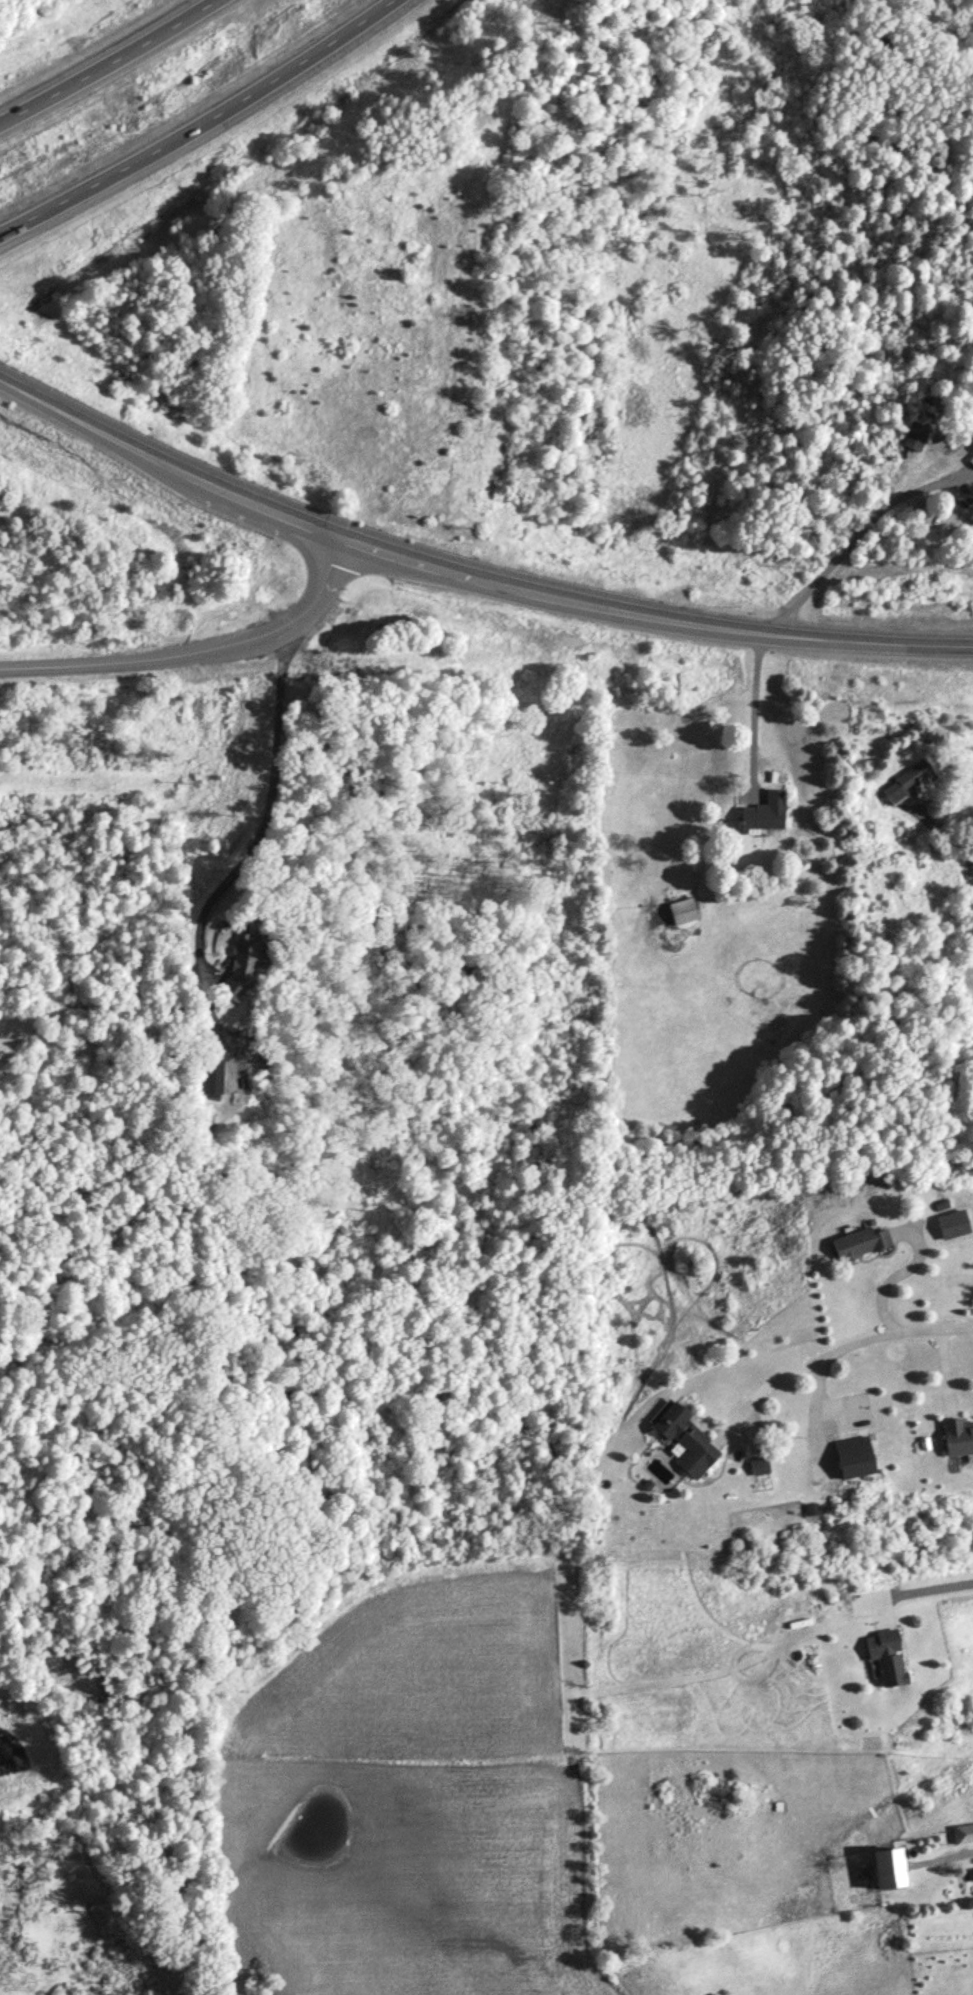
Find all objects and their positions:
road: (106, 63)
road: (204, 123)
building: (916, 436)
road: (853, 537)
road: (454, 570)
road: (279, 630)
road: (956, 644)
road: (83, 664)
road: (754, 706)
building: (910, 781)
road: (270, 802)
building: (767, 811)
road: (943, 830)
building: (684, 910)
building: (241, 967)
building: (972, 1015)
building: (213, 1074)
building: (861, 1243)
road: (883, 1283)
road: (841, 1347)
building: (959, 1436)
building: (688, 1441)
building: (857, 1456)
road: (922, 1591)
building: (889, 1655)
building: (962, 1833)
building: (891, 1868)

